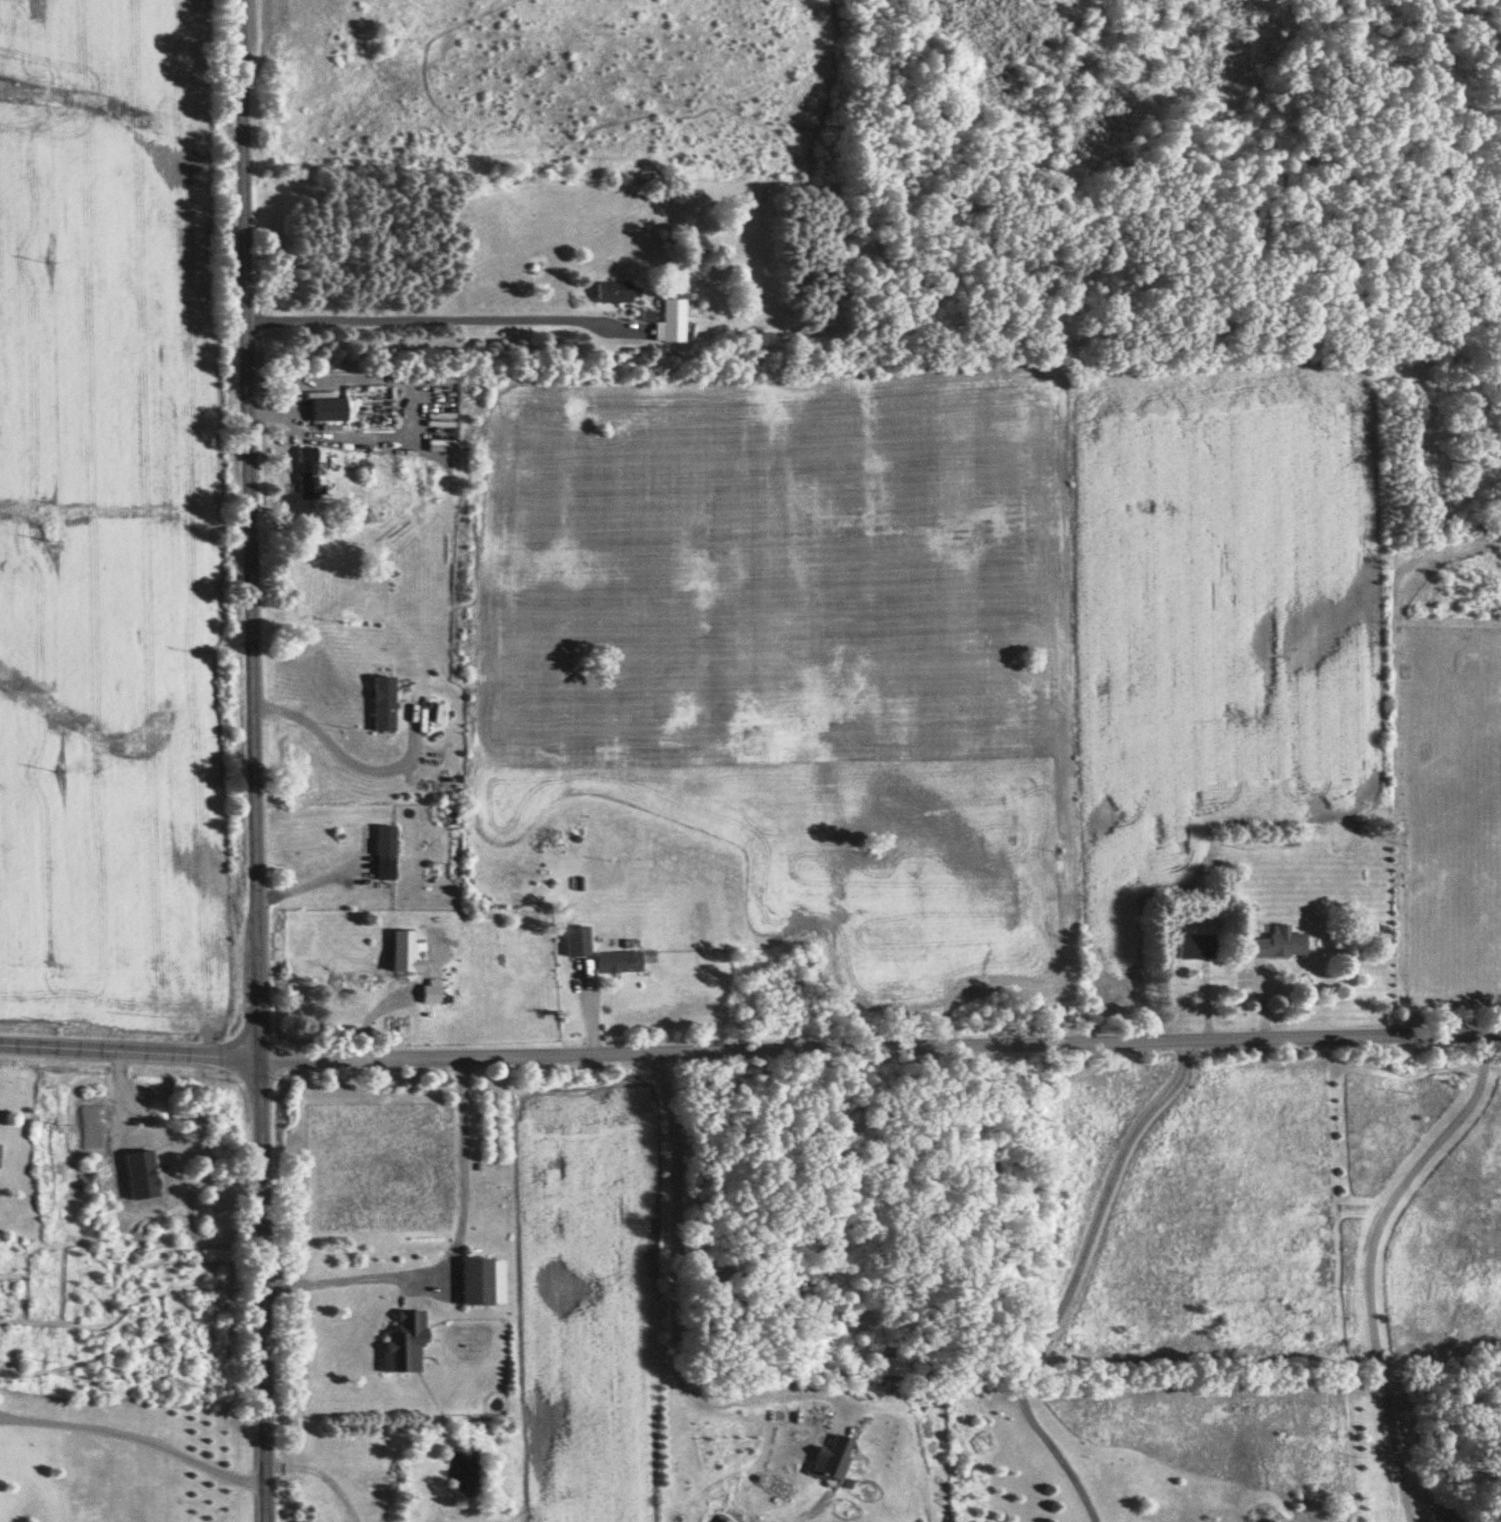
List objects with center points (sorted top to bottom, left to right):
building: (616, 292)
building: (671, 321)
road: (433, 325)
building: (328, 409)
building: (306, 472)
building: (382, 704)
road: (339, 755)
road: (251, 761)
building: (383, 852)
road: (304, 884)
building: (576, 941)
building: (1279, 943)
building: (1196, 946)
building: (402, 953)
building: (618, 962)
building: (430, 994)
road: (877, 1044)
road: (126, 1048)
road: (452, 1252)
road: (1384, 1260)
building: (482, 1281)
road: (1073, 1282)
road: (673, 1292)
building: (404, 1344)
road: (134, 1435)
building: (832, 1460)
road: (319, 1473)

